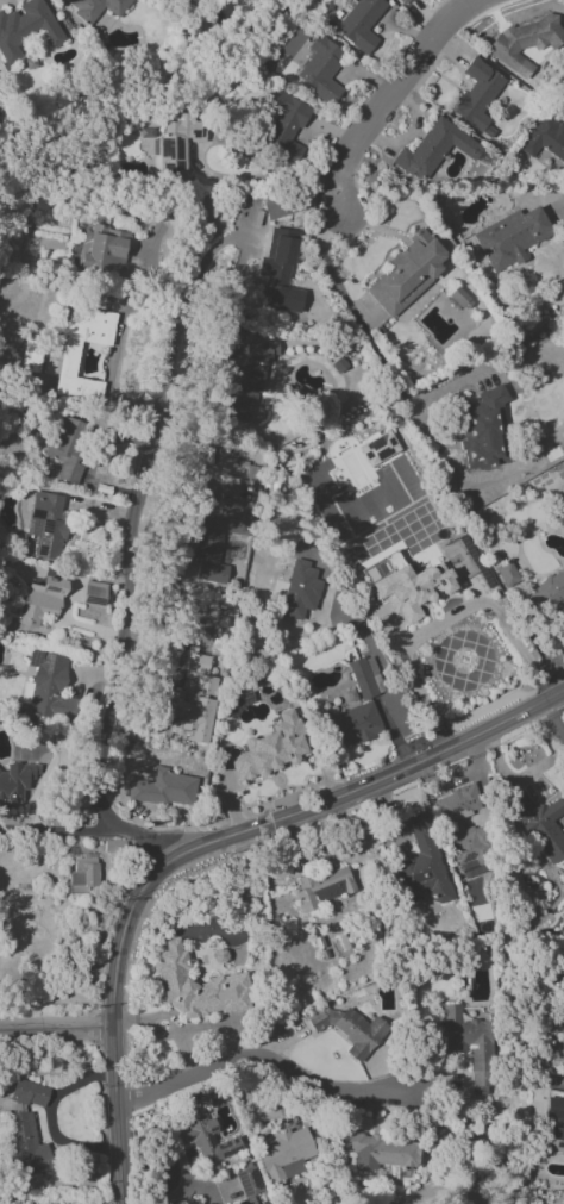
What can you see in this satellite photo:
building: (399, 1)
building: (95, 7)
building: (361, 24)
building: (25, 29)
building: (525, 43)
building: (320, 69)
road: (389, 93)
building: (477, 95)
building: (286, 124)
building: (545, 138)
building: (176, 145)
building: (433, 150)
building: (272, 207)
building: (509, 237)
building: (102, 248)
building: (278, 269)
building: (406, 273)
road: (368, 342)
building: (259, 351)
building: (30, 356)
building: (68, 362)
road: (164, 376)
building: (242, 392)
building: (482, 429)
building: (67, 445)
building: (377, 449)
building: (46, 523)
building: (215, 544)
building: (506, 574)
building: (406, 586)
building: (299, 591)
building: (547, 594)
building: (40, 601)
road: (445, 619)
building: (196, 663)
building: (361, 678)
building: (46, 687)
building: (194, 707)
road: (557, 710)
road: (102, 724)
building: (356, 724)
building: (271, 748)
building: (17, 782)
building: (162, 788)
building: (539, 823)
building: (462, 828)
road: (59, 834)
road: (202, 847)
building: (421, 866)
building: (82, 874)
building: (324, 887)
building: (192, 986)
road: (56, 1027)
building: (350, 1028)
road: (184, 1029)
building: (469, 1046)
road: (272, 1066)
building: (29, 1093)
building: (553, 1105)
building: (556, 1140)
building: (211, 1143)
building: (26, 1147)
building: (378, 1150)
building: (284, 1154)
building: (247, 1184)

